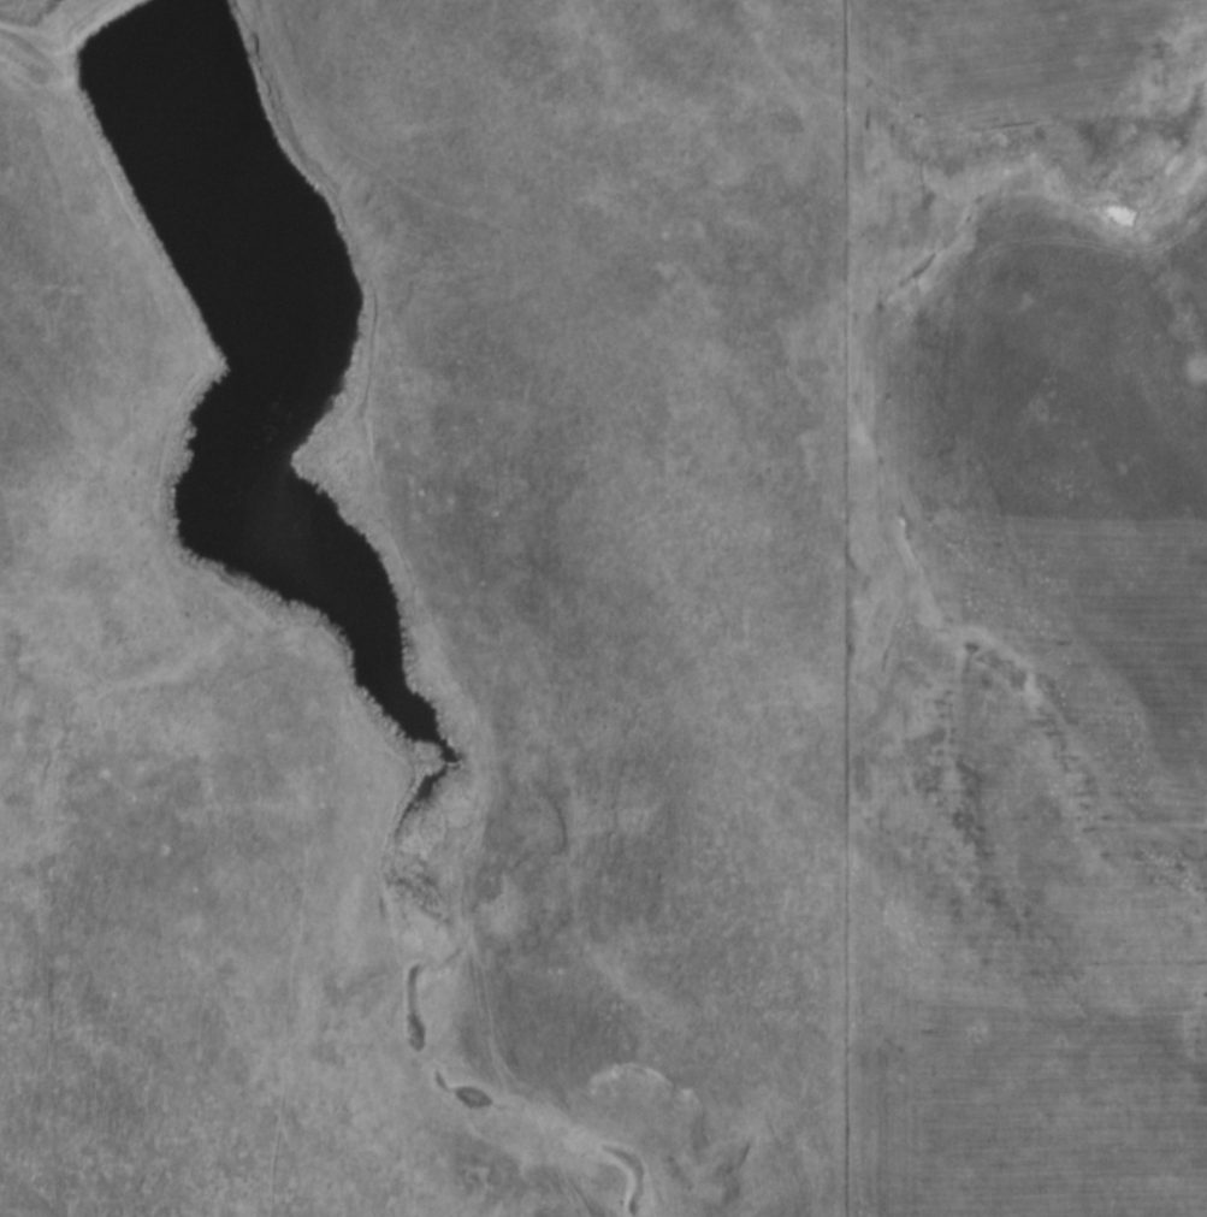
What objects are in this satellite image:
road: (39, 1177)

